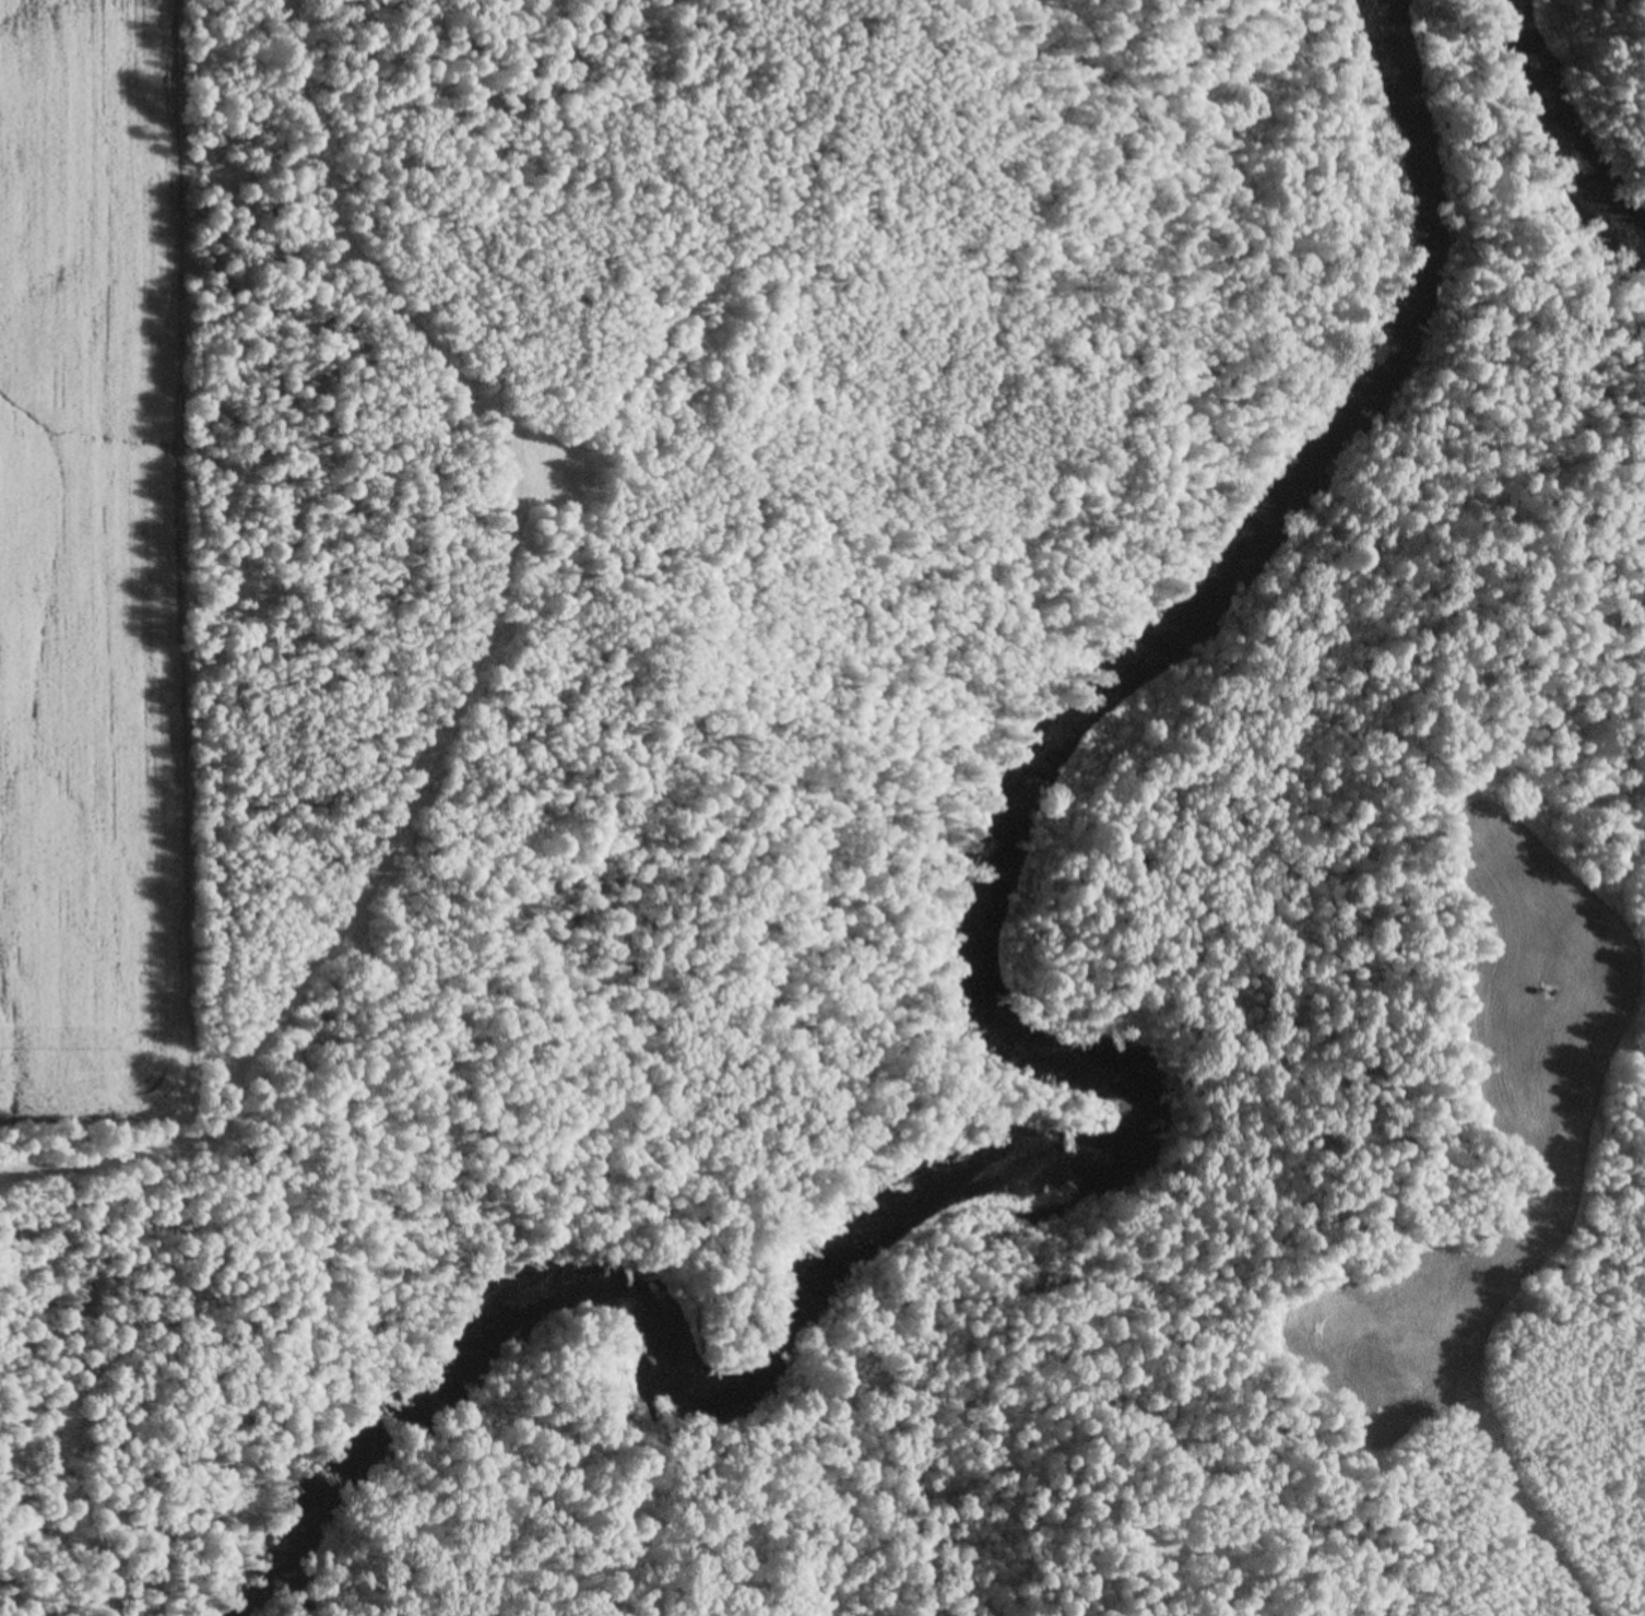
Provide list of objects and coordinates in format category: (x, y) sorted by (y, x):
river: (1567, 127)
crop: (93, 564)
river: (1014, 1058)

